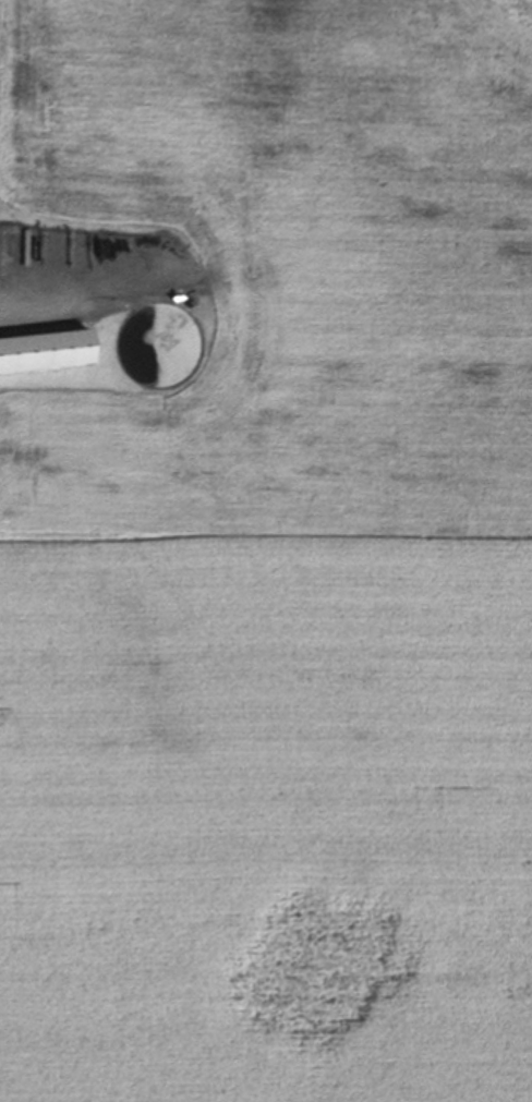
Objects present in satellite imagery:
building: (43, 355)

